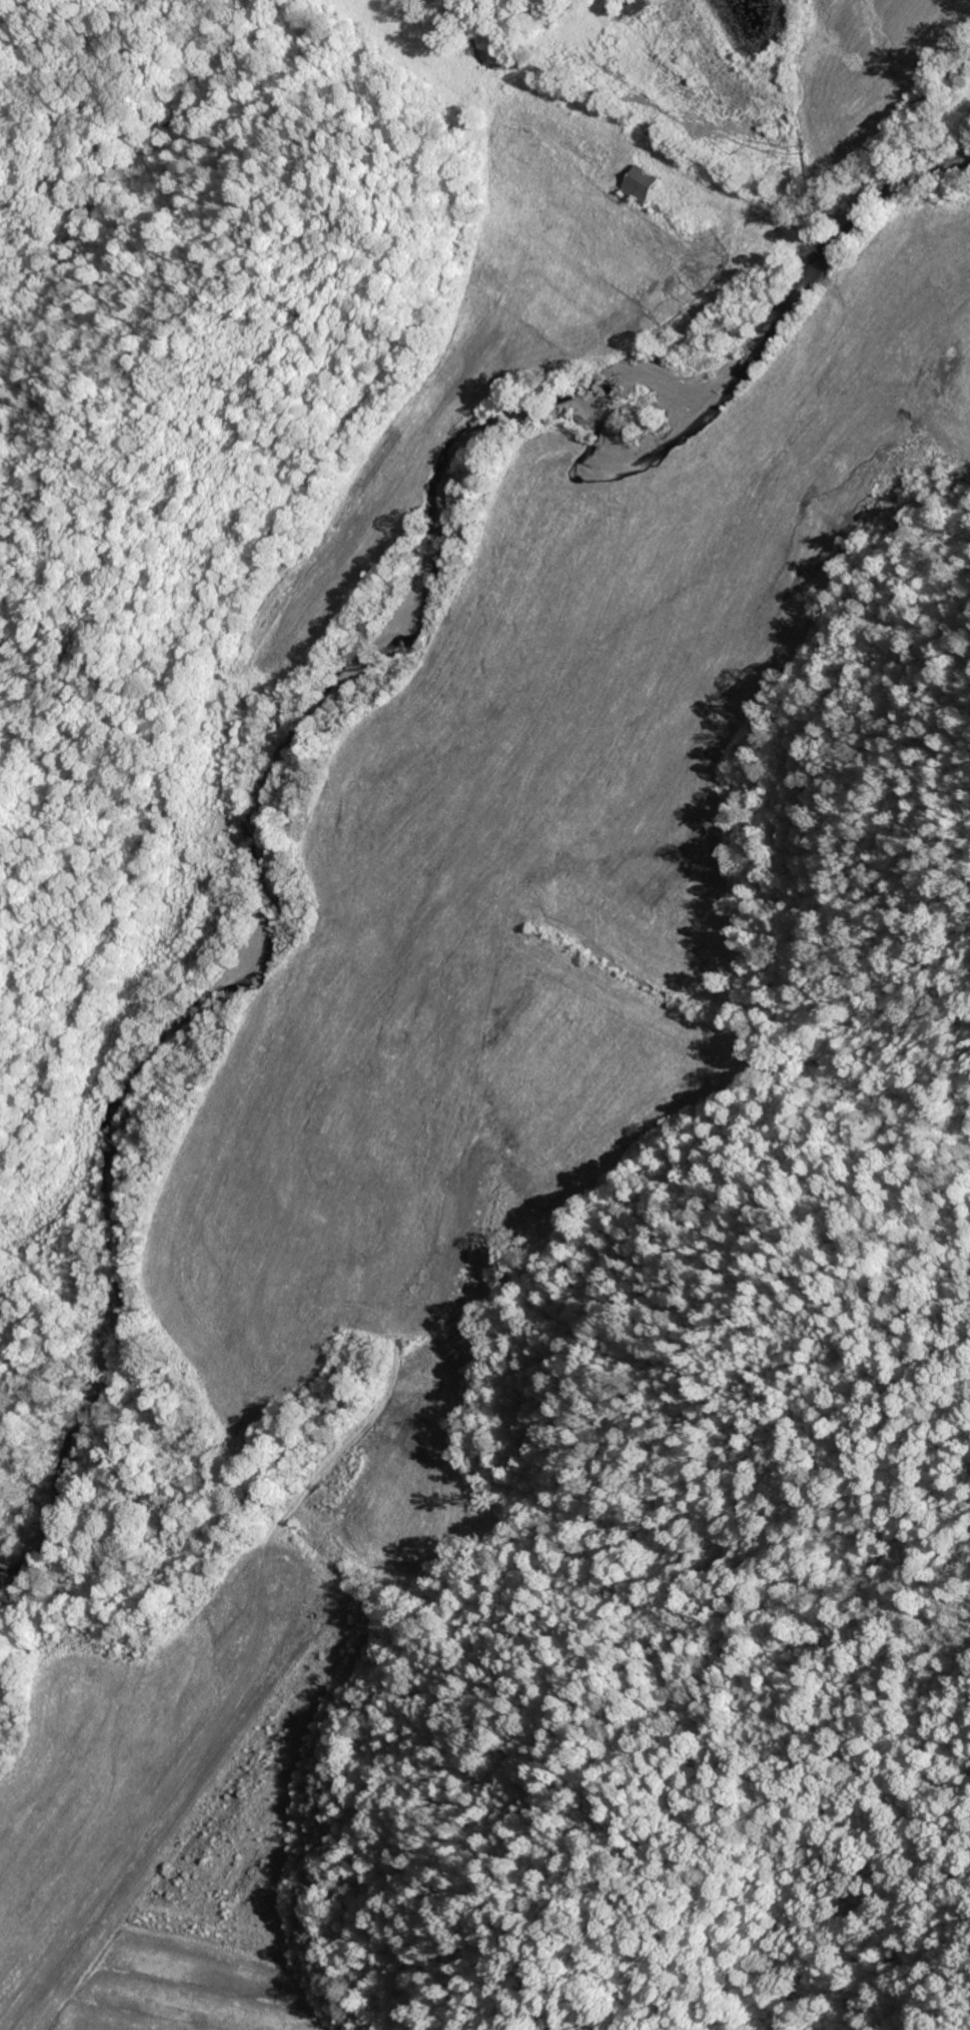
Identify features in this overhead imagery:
road: (507, 23)
road: (303, 598)

